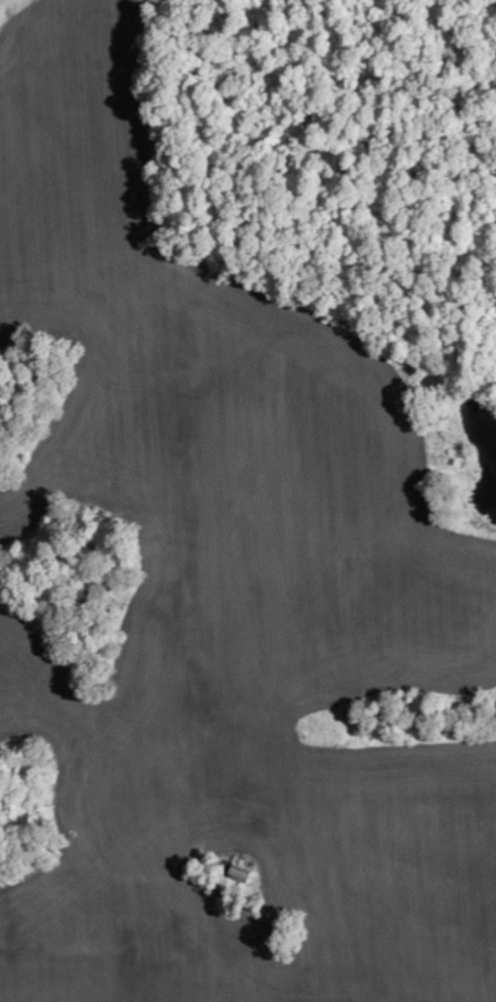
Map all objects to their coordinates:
road: (150, 456)
crop: (222, 598)
building: (240, 871)

